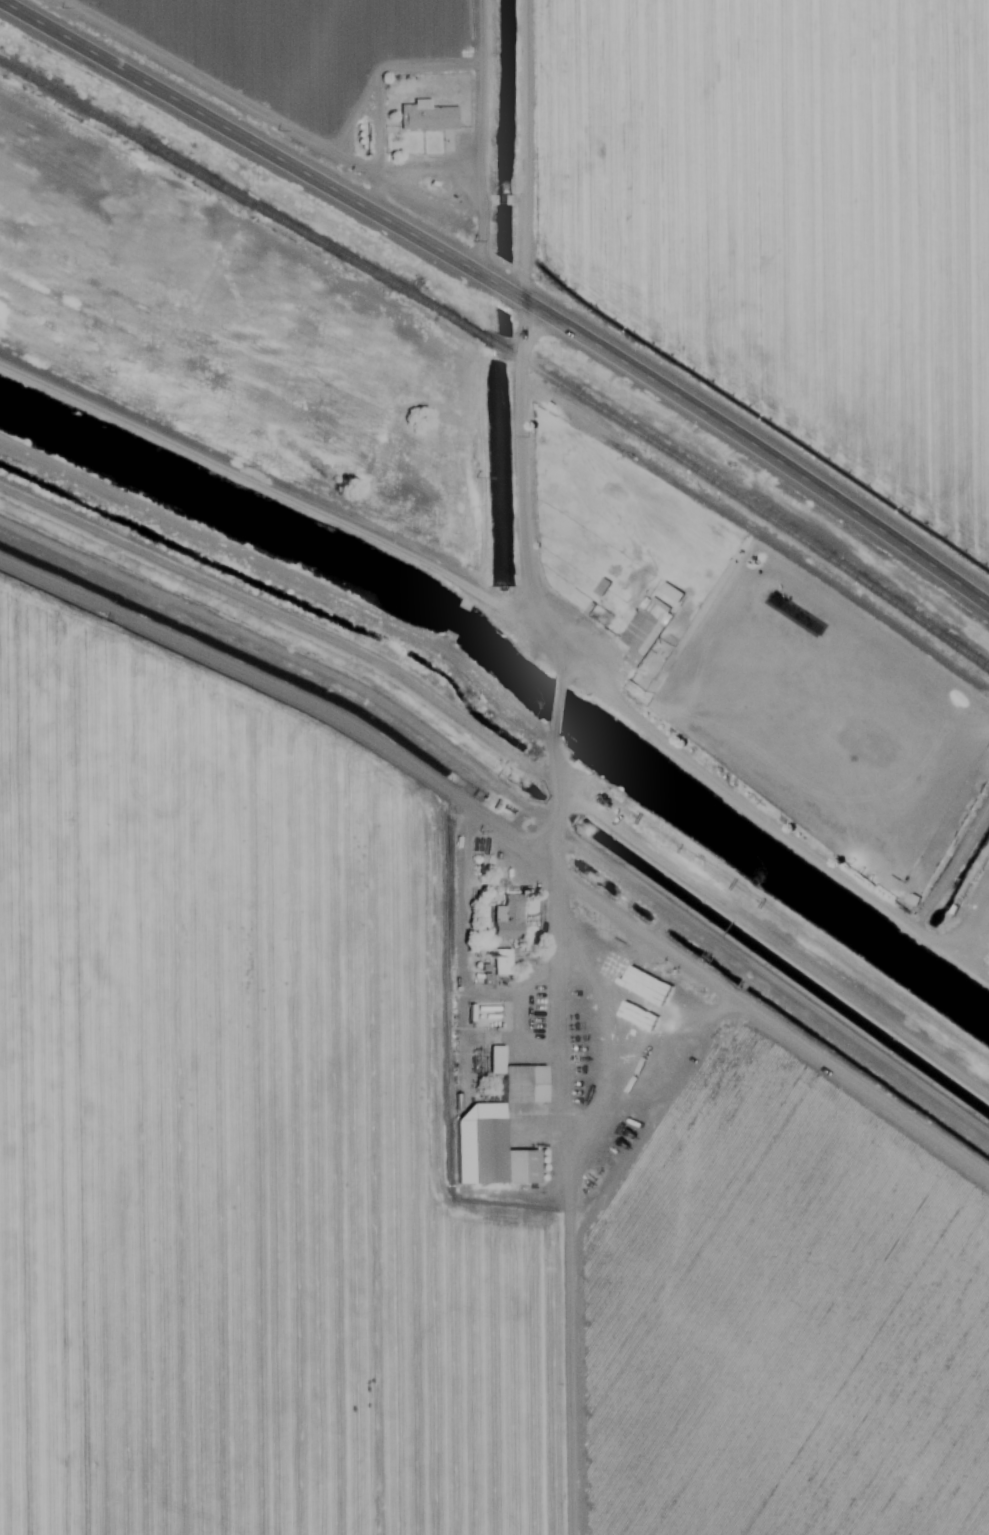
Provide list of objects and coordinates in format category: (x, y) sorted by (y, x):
crop: (754, 19)
crop: (307, 80)
building: (425, 116)
road: (239, 135)
road: (475, 135)
road: (534, 153)
road: (420, 180)
railway: (245, 200)
crop: (783, 244)
road: (505, 289)
railway: (500, 347)
road: (230, 399)
road: (763, 452)
railway: (752, 507)
building: (599, 586)
building: (668, 591)
building: (641, 629)
road: (506, 794)
building: (505, 919)
building: (499, 961)
road: (463, 976)
building: (494, 1059)
crop: (274, 1110)
building: (495, 1134)
crop: (767, 1259)

